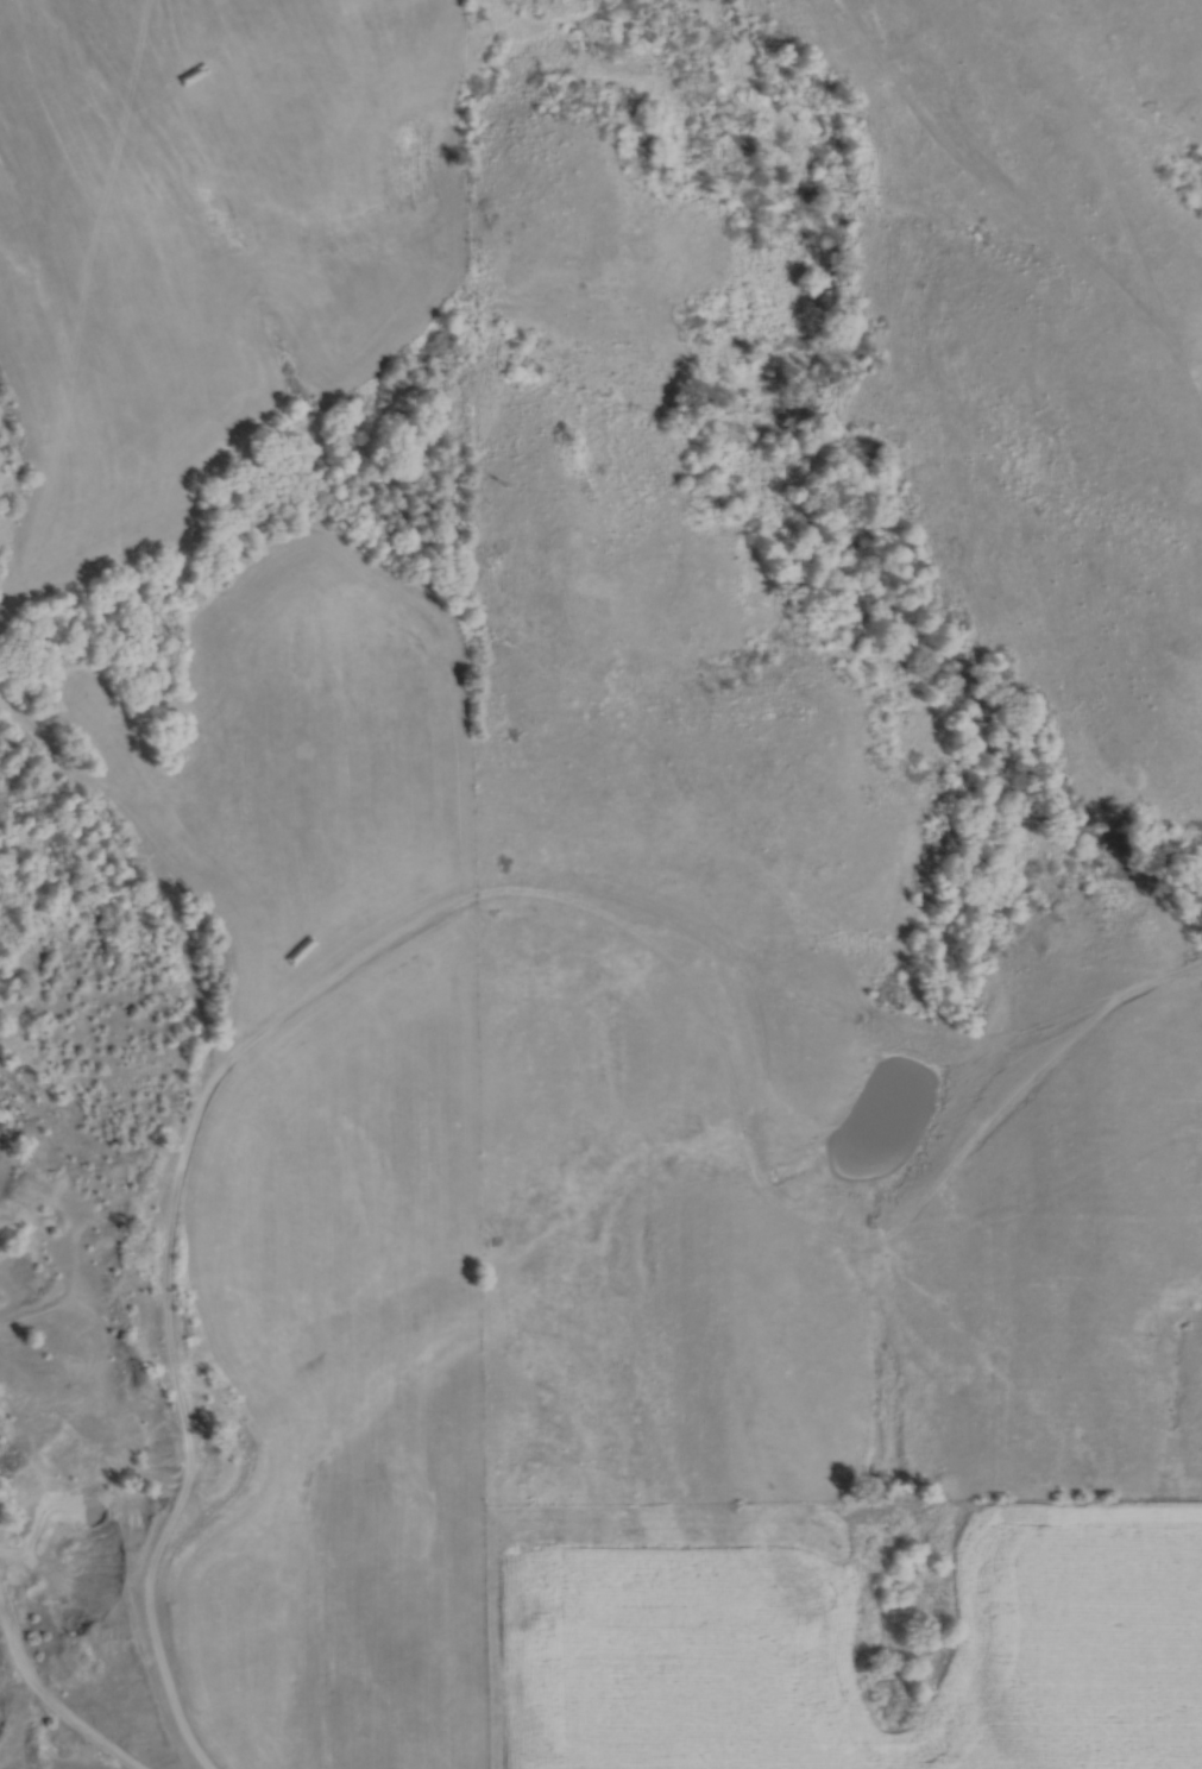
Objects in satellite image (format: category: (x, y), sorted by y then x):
road: (49, 1705)

